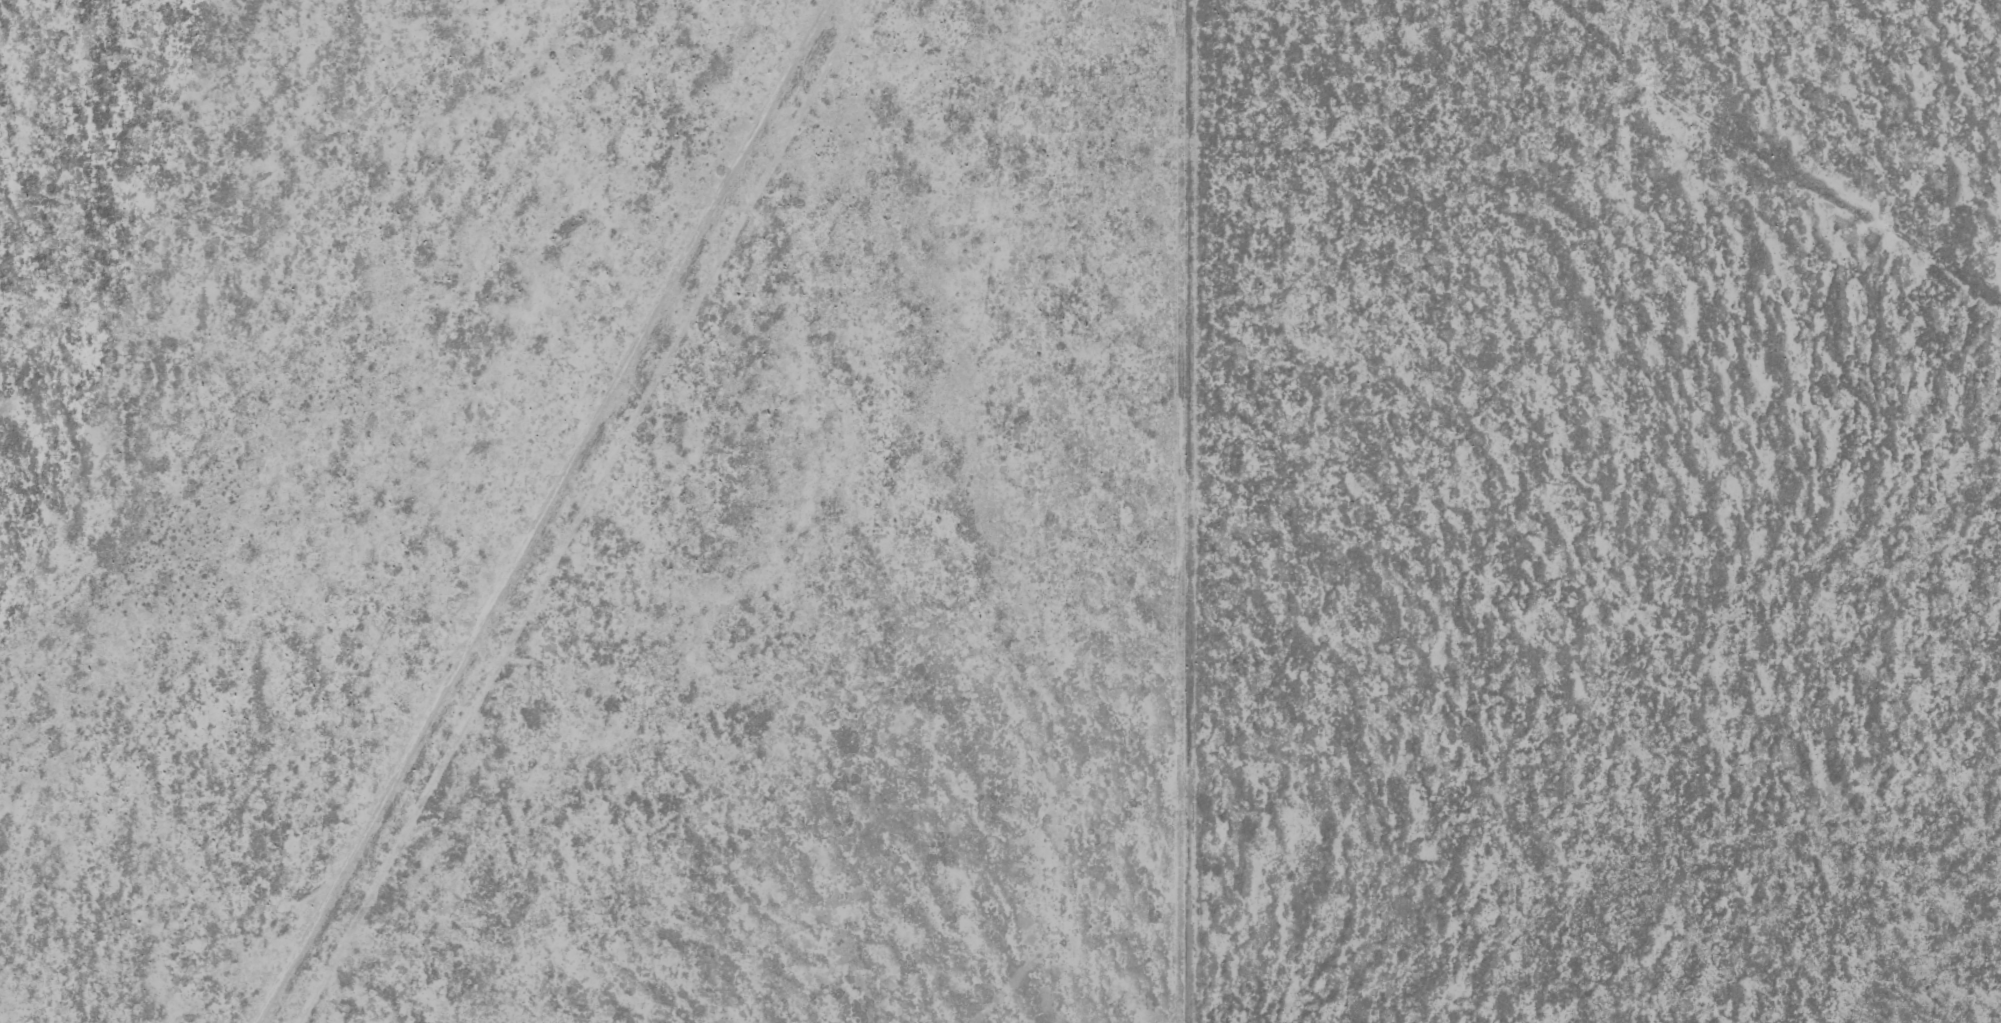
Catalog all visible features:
road: (1754, 160)
road: (543, 512)

